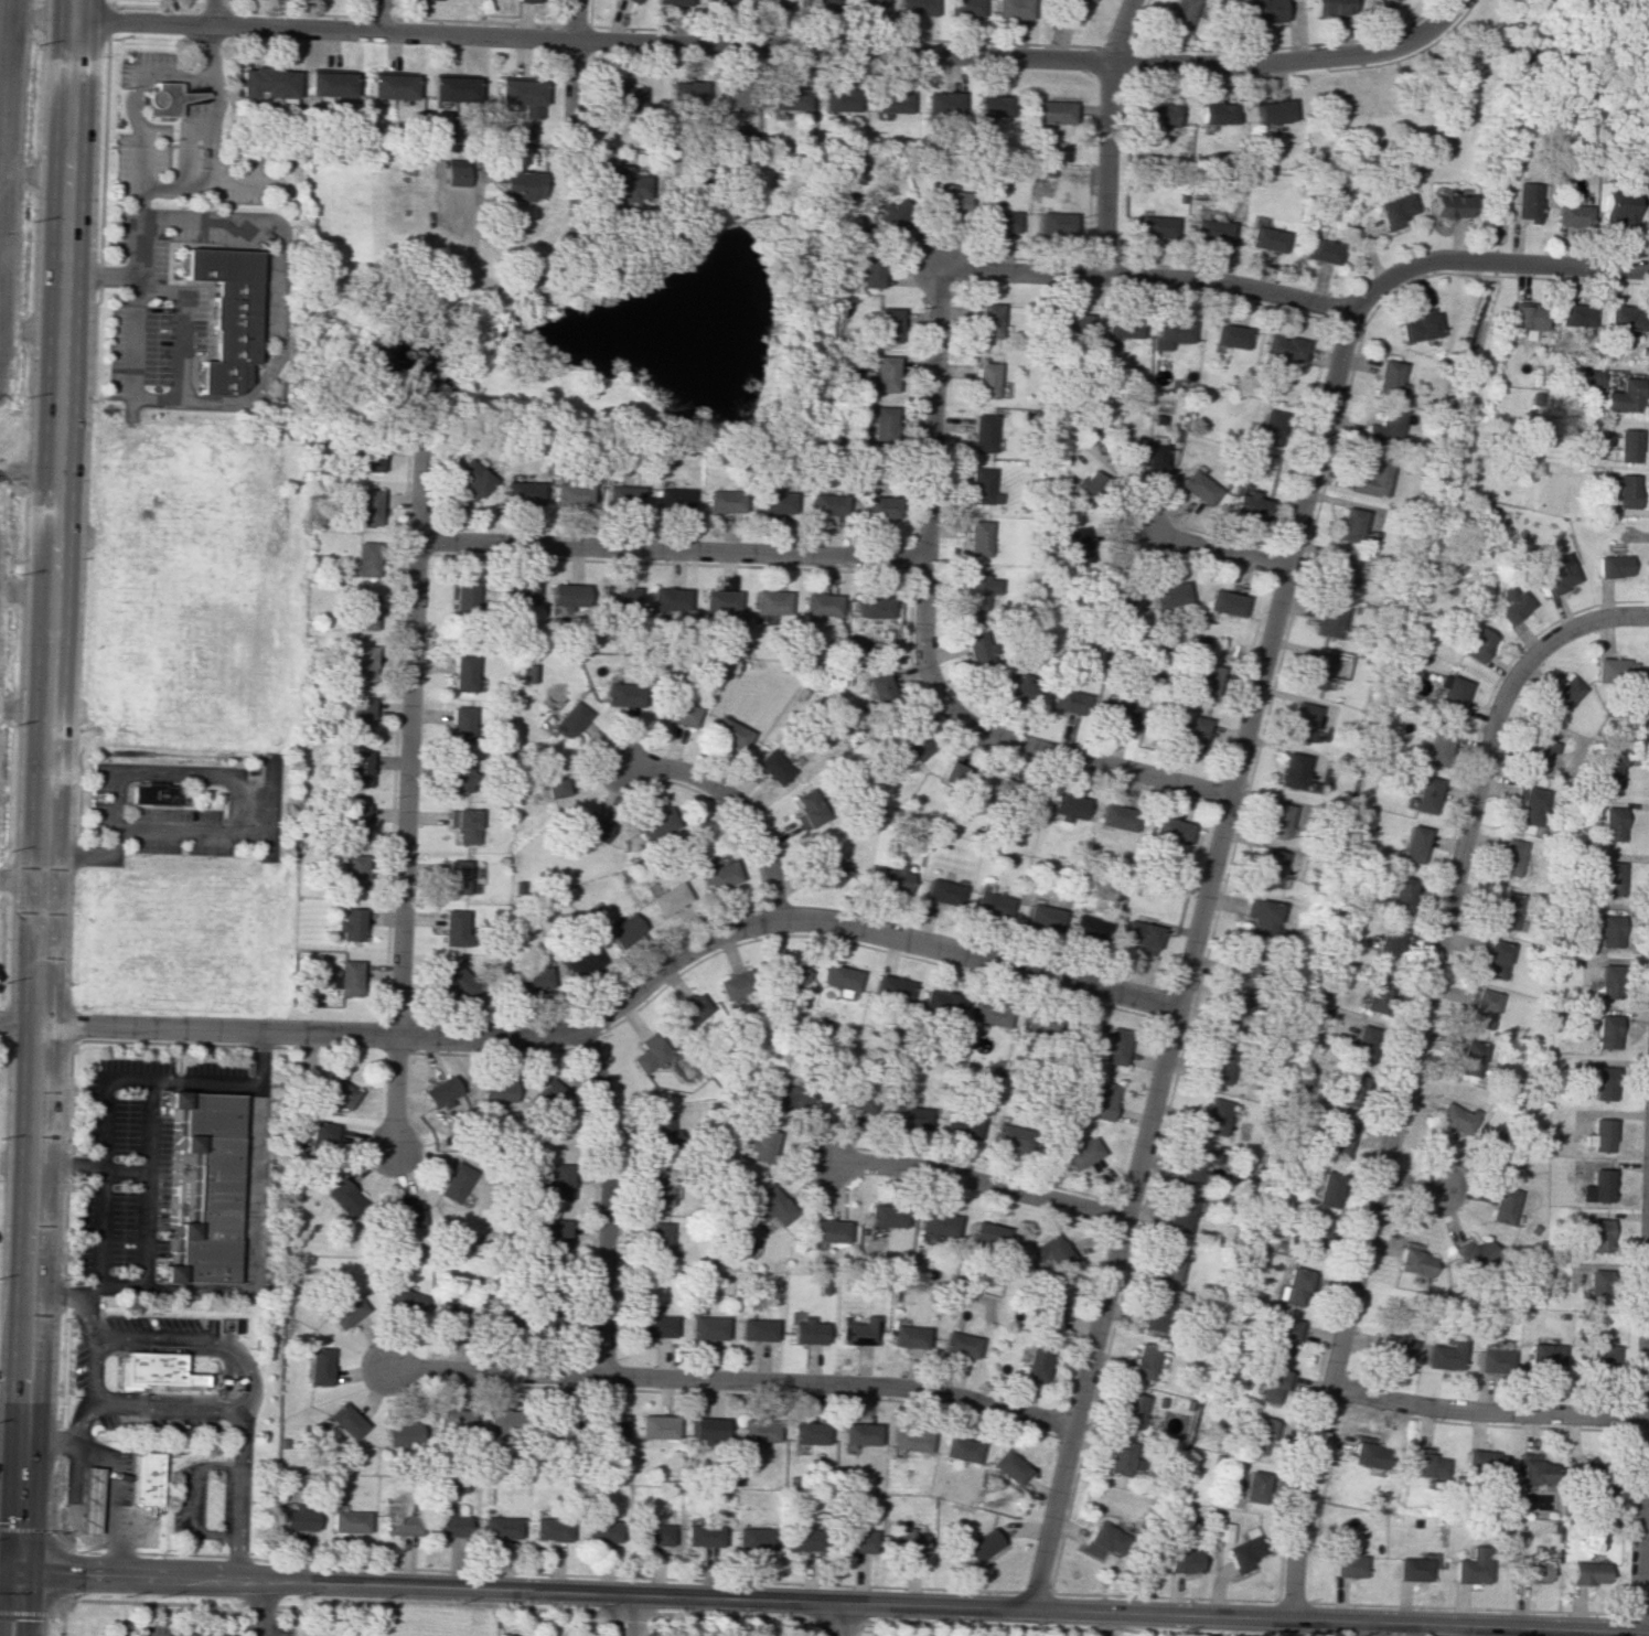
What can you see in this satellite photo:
building: (527, 0)
building: (634, 0)
building: (1390, 0)
building: (677, 3)
building: (721, 3)
building: (770, 3)
building: (820, 4)
building: (871, 6)
building: (918, 7)
building: (966, 8)
building: (1074, 8)
building: (1330, 8)
building: (1015, 9)
building: (1263, 10)
road: (214, 12)
building: (1180, 14)
road: (377, 15)
road: (770, 47)
road: (572, 72)
building: (266, 82)
building: (329, 84)
building: (389, 86)
park: (1493, 87)
building: (451, 88)
building: (686, 92)
building: (622, 94)
building: (521, 95)
building: (737, 95)
building: (790, 98)
building: (839, 98)
building: (163, 99)
building: (891, 100)
building: (943, 103)
building: (994, 105)
building: (1272, 110)
building: (1050, 111)
road: (131, 113)
building: (1216, 114)
building: (1154, 115)
road: (1106, 135)
road: (185, 145)
crop: (7, 162)
building: (456, 172)
building: (621, 183)
building: (521, 184)
road: (161, 185)
building: (950, 200)
building: (1525, 201)
building: (1445, 205)
building: (1618, 207)
building: (1392, 210)
building: (895, 214)
building: (1570, 214)
building: (999, 221)
building: (1054, 223)
building: (1154, 227)
building: (1208, 231)
building: (1262, 238)
building: (1317, 250)
road: (1567, 267)
building: (869, 269)
road: (97, 278)
road: (1204, 281)
building: (1522, 314)
building: (1573, 314)
building: (225, 317)
building: (1623, 318)
road: (181, 320)
building: (986, 320)
building: (886, 323)
building: (1068, 323)
building: (1121, 327)
building: (1412, 328)
building: (1169, 332)
building: (1228, 338)
road: (276, 339)
building: (1281, 347)
building: (884, 373)
building: (1591, 377)
building: (1382, 378)
building: (983, 379)
building: (1396, 389)
building: (1621, 395)
building: (881, 423)
building: (1265, 428)
building: (1382, 429)
building: (981, 432)
building: (1625, 446)
building: (1145, 456)
building: (368, 459)
building: (1369, 477)
building: (470, 479)
building: (981, 486)
building: (1196, 486)
building: (1625, 490)
building: (520, 492)
building: (570, 492)
building: (621, 495)
building: (671, 498)
building: (722, 501)
building: (772, 502)
building: (824, 504)
building: (1246, 504)
building: (366, 506)
building: (877, 506)
building: (1341, 526)
building: (977, 537)
building: (1077, 545)
road: (671, 549)
road: (1212, 549)
building: (364, 558)
building: (1608, 563)
building: (1335, 571)
building: (1553, 574)
building: (977, 591)
building: (516, 592)
building: (1168, 595)
building: (462, 596)
building: (566, 597)
building: (618, 597)
building: (667, 600)
building: (718, 601)
building: (769, 601)
building: (1223, 602)
building: (820, 603)
building: (1508, 606)
building: (872, 607)
building: (364, 610)
building: (1316, 622)
building: (1470, 642)
building: (978, 649)
road: (922, 653)
building: (362, 663)
building: (1617, 666)
building: (1308, 672)
building: (462, 673)
building: (528, 673)
building: (1204, 681)
building: (1014, 686)
building: (879, 689)
building: (1564, 692)
building: (1446, 693)
building: (622, 694)
building: (1067, 702)
building: (677, 713)
building: (1115, 714)
building: (358, 715)
building: (569, 719)
building: (1295, 723)
building: (459, 724)
building: (727, 734)
building: (1192, 734)
building: (912, 744)
building: (1432, 746)
building: (1536, 753)
building: (771, 767)
building: (357, 768)
building: (1282, 770)
building: (952, 771)
building: (1611, 772)
building: (458, 774)
parking lot: (99, 778)
building: (554, 779)
building: (974, 781)
road: (407, 792)
building: (1421, 792)
building: (149, 793)
road: (734, 801)
building: (1532, 804)
building: (1066, 806)
building: (809, 809)
road: (247, 814)
parking lot: (97, 816)
road: (45, 817)
building: (1115, 817)
building: (1270, 817)
building: (356, 819)
building: (462, 824)
building: (654, 824)
building: (1610, 824)
building: (589, 827)
building: (1169, 830)
parking lot: (176, 832)
building: (1410, 838)
building: (1509, 855)
building: (1265, 865)
building: (831, 867)
building: (353, 872)
building: (718, 875)
building: (454, 876)
building: (891, 877)
building: (1609, 877)
building: (940, 892)
building: (1396, 894)
building: (667, 898)
building: (989, 905)
building: (1503, 907)
building: (1041, 917)
building: (1254, 919)
building: (350, 923)
building: (453, 928)
building: (1086, 928)
building: (1609, 928)
building: (620, 929)
building: (1141, 935)
building: (1383, 939)
building: (1489, 959)
building: (580, 961)
road: (1187, 962)
building: (1235, 966)
building: (793, 974)
building: (346, 977)
building: (529, 979)
building: (840, 979)
building: (1604, 980)
building: (458, 982)
building: (740, 986)
building: (891, 987)
building: (1373, 997)
road: (620, 999)
building: (939, 1004)
building: (1478, 1006)
building: (690, 1012)
building: (988, 1014)
building: (1223, 1015)
road: (19, 1023)
building: (1031, 1026)
building: (1604, 1030)
building: (1114, 1046)
building: (1364, 1048)
building: (649, 1055)
building: (1467, 1057)
building: (1210, 1065)
road: (1406, 1069)
building: (1602, 1081)
building: (439, 1091)
building: (338, 1092)
building: (496, 1092)
building: (790, 1095)
building: (1353, 1097)
building: (550, 1098)
building: (1101, 1100)
road: (103, 1101)
building: (857, 1102)
building: (1203, 1114)
building: (909, 1115)
building: (1450, 1118)
building: (961, 1125)
building: (1600, 1133)
building: (324, 1135)
building: (1010, 1137)
building: (1341, 1142)
building: (762, 1146)
building: (1493, 1148)
building: (1081, 1153)
parking lot: (133, 1155)
building: (1187, 1167)
road: (89, 1172)
road: (146, 1181)
building: (559, 1181)
building: (453, 1183)
road: (976, 1183)
building: (1598, 1183)
road: (1410, 1185)
building: (202, 1187)
building: (658, 1187)
building: (1327, 1196)
building: (344, 1197)
road: (607, 1199)
building: (1502, 1204)
building: (769, 1207)
building: (1175, 1212)
building: (884, 1216)
building: (407, 1217)
building: (936, 1222)
building: (826, 1231)
building: (557, 1234)
building: (1597, 1234)
building: (986, 1236)
building: (656, 1239)
road: (251, 1250)
building: (1476, 1252)
building: (1052, 1253)
building: (1412, 1260)
building: (1161, 1264)
building: (1595, 1284)
building: (1298, 1292)
road: (71, 1297)
building: (401, 1300)
building: (1049, 1308)
building: (448, 1309)
building: (344, 1311)
building: (1149, 1313)
building: (501, 1319)
building: (653, 1325)
building: (705, 1327)
building: (756, 1329)
building: (805, 1330)
building: (858, 1330)
building: (908, 1336)
road: (205, 1339)
building: (1287, 1341)
building: (959, 1344)
building: (1394, 1347)
building: (1443, 1354)
building: (1542, 1354)
building: (1595, 1356)
building: (1138, 1357)
building: (1489, 1359)
building: (1037, 1360)
building: (147, 1366)
building: (317, 1366)
road: (731, 1380)
building: (1272, 1388)
building: (1127, 1409)
road: (1484, 1412)
building: (343, 1420)
building: (452, 1420)
building: (497, 1421)
road: (79, 1422)
building: (608, 1424)
road: (1641, 1424)
building: (654, 1426)
building: (705, 1430)
building: (756, 1430)
building: (806, 1432)
building: (857, 1433)
building: (1260, 1433)
building: (398, 1435)
building: (908, 1439)
building: (796, 1447)
building: (959, 1448)
building: (1369, 1457)
building: (1118, 1463)
building: (1008, 1466)
building: (1484, 1466)
building: (1426, 1467)
road: (109, 1471)
building: (1531, 1472)
building: (1587, 1476)
building: (142, 1478)
road: (238, 1480)
building: (1255, 1491)
building: (83, 1497)
gas station: (83, 1497)
road: (193, 1500)
building: (297, 1517)
building: (346, 1521)
building: (398, 1523)
building: (448, 1525)
building: (499, 1527)
building: (549, 1528)
road: (24, 1530)
building: (1221, 1531)
building: (646, 1533)
building: (705, 1536)
building: (751, 1538)
road: (57, 1539)
building: (800, 1539)
building: (853, 1540)
building: (1101, 1540)
building: (904, 1541)
building: (978, 1544)
road: (178, 1554)
building: (1244, 1555)
building: (1178, 1560)
road: (9, 1567)
traffic signals: (19, 1568)
building: (1525, 1569)
building: (1350, 1572)
building: (1414, 1572)
road: (61, 1575)
building: (1477, 1575)
building: (1580, 1578)
road: (523, 1591)
road: (147, 1602)
road: (257, 1607)
road: (23, 1612)
road: (163, 1613)
road: (612, 1615)
road: (634, 1616)
road: (823, 1618)
road: (844, 1618)
road: (60, 1619)
road: (1338, 1622)
parking lot: (181, 1630)
parking lot: (282, 1630)
parking lot: (120, 1633)

